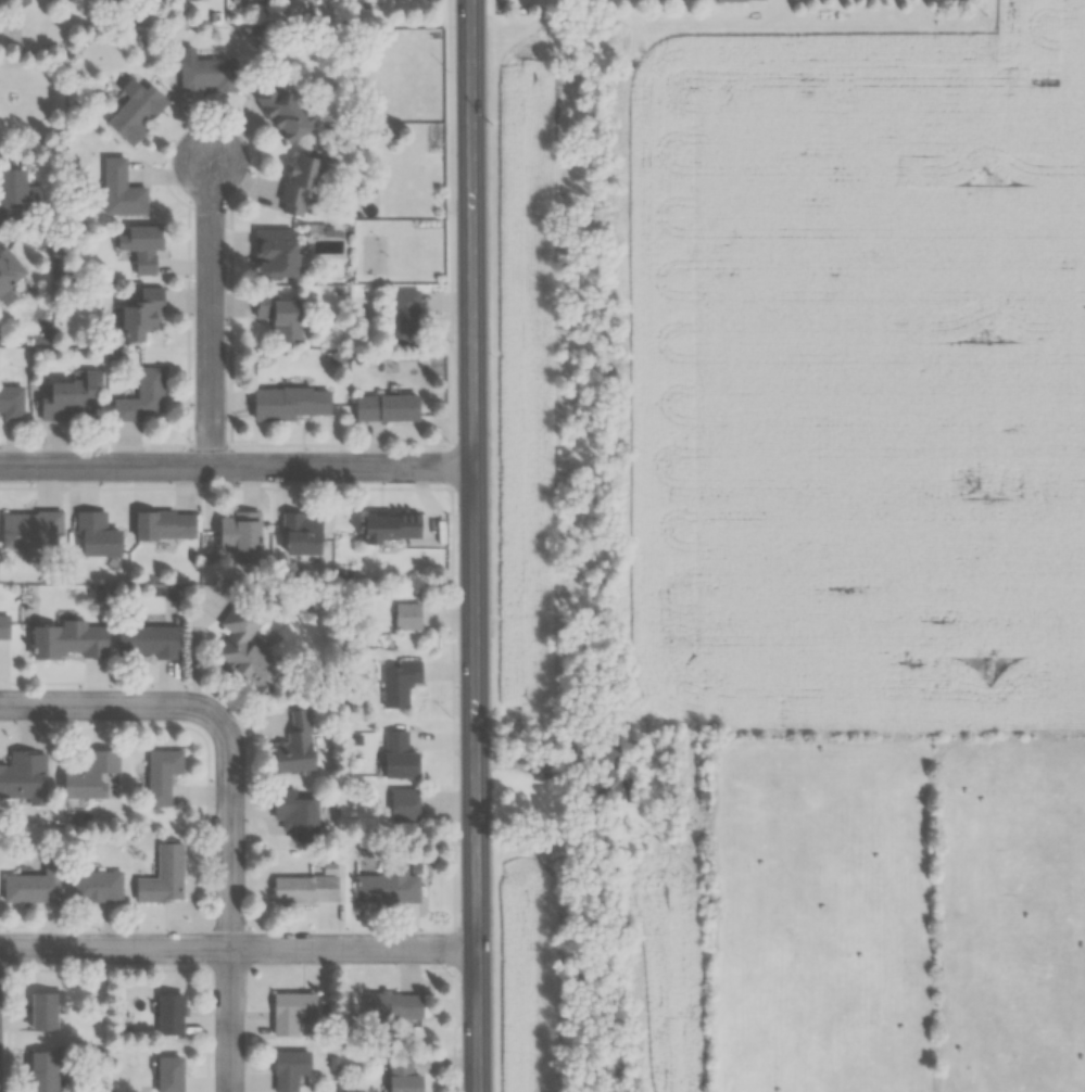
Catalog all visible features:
building: (374, 0)
building: (732, 2)
building: (501, 5)
road: (488, 8)
road: (470, 58)
building: (207, 74)
building: (134, 113)
building: (281, 113)
building: (299, 186)
building: (121, 189)
building: (11, 193)
street lamp: (451, 211)
building: (140, 246)
building: (274, 252)
building: (8, 267)
building: (140, 315)
building: (279, 315)
road: (213, 316)
building: (398, 320)
crop: (519, 394)
building: (141, 396)
building: (71, 397)
building: (291, 402)
building: (11, 403)
building: (378, 412)
street lamp: (452, 433)
road: (237, 470)
building: (164, 523)
building: (31, 529)
building: (381, 532)
building: (238, 533)
building: (301, 533)
building: (96, 535)
road: (446, 546)
road: (475, 604)
building: (399, 620)
building: (3, 626)
building: (68, 640)
building: (147, 642)
building: (245, 649)
building: (390, 686)
street lamp: (452, 713)
road: (215, 728)
building: (294, 744)
building: (390, 761)
road: (531, 764)
building: (161, 774)
building: (90, 775)
building: (24, 777)
building: (608, 783)
building: (395, 810)
building: (295, 814)
building: (163, 877)
building: (34, 885)
building: (96, 886)
building: (305, 888)
building: (382, 894)
road: (237, 950)
crop: (664, 969)
street lamp: (455, 972)
crop: (525, 974)
building: (42, 1012)
building: (386, 1012)
building: (292, 1013)
building: (169, 1014)
road: (224, 1020)
building: (289, 1068)
building: (41, 1071)
building: (392, 1072)
building: (168, 1074)

